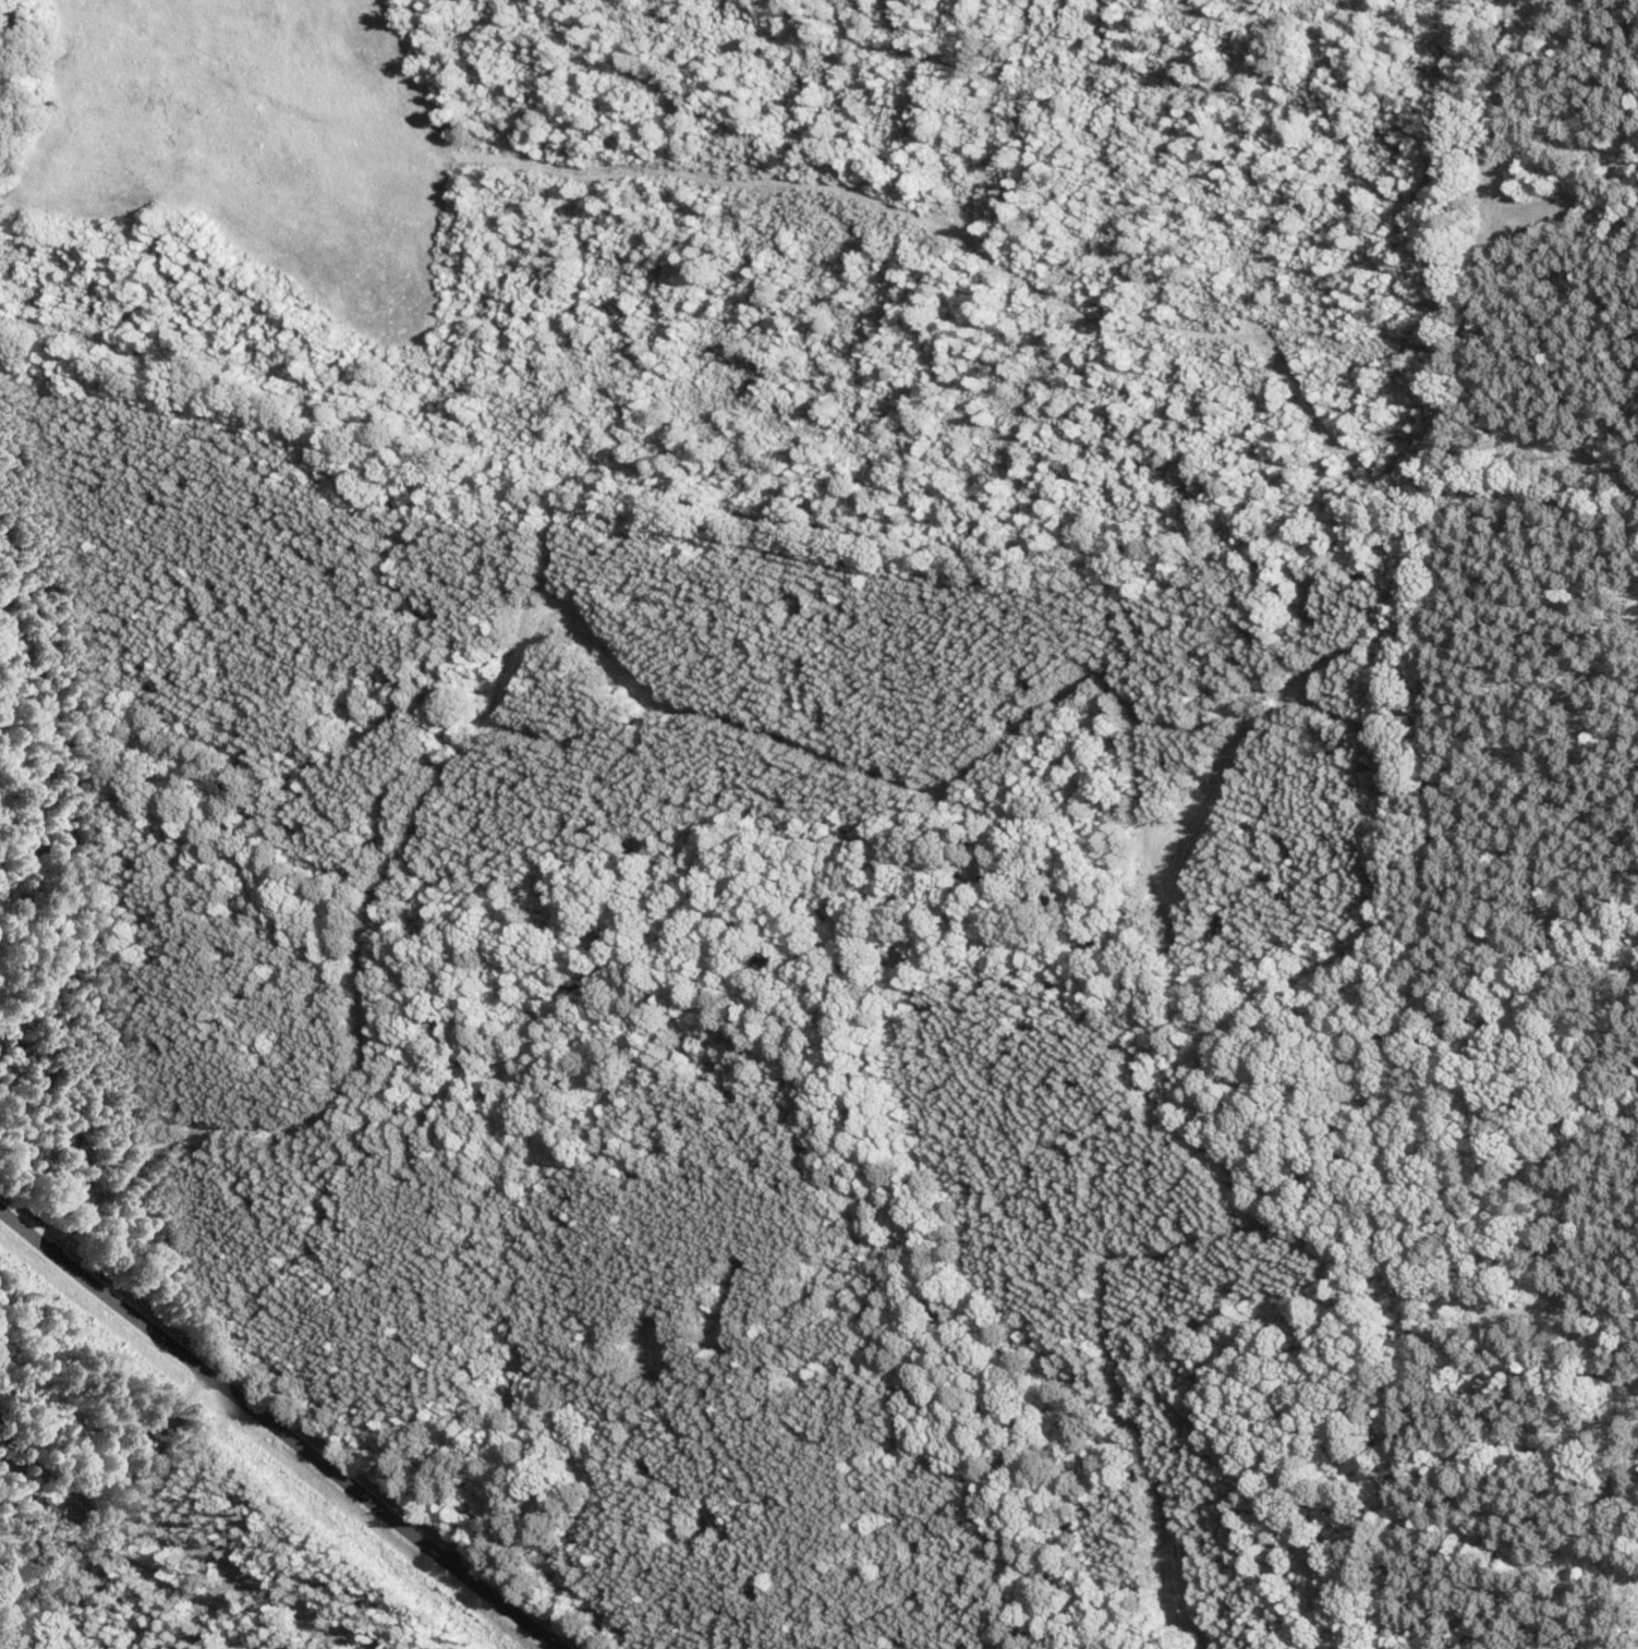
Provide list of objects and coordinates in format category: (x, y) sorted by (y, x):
road: (1300, 1423)
road: (278, 1432)

